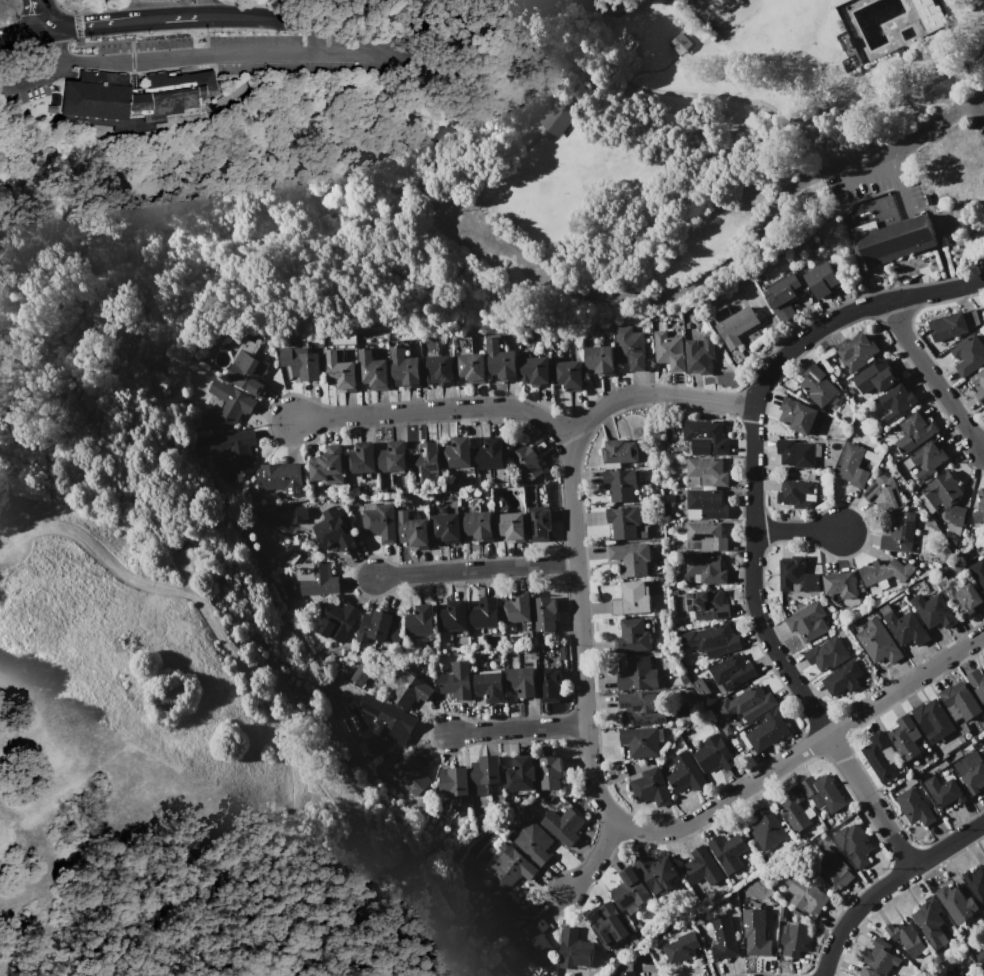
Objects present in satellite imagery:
road: (974, 0)
road: (207, 9)
road: (614, 11)
building: (926, 13)
road: (41, 15)
road: (260, 17)
road: (185, 18)
road: (140, 21)
road: (421, 21)
road: (81, 27)
road: (950, 29)
park: (767, 30)
traffic signals: (47, 31)
road: (23, 34)
road: (315, 36)
building: (679, 43)
road: (53, 45)
road: (347, 53)
road: (187, 57)
road: (963, 65)
road: (650, 69)
road: (969, 77)
road: (39, 79)
road: (616, 85)
road: (977, 90)
building: (169, 94)
building: (97, 95)
road: (590, 95)
road: (977, 103)
road: (983, 110)
building: (556, 117)
road: (558, 118)
parking lot: (978, 119)
road: (739, 150)
road: (496, 159)
park: (486, 174)
road: (870, 177)
road: (899, 180)
parking lot: (879, 183)
road: (426, 191)
road: (434, 200)
road: (470, 211)
road: (105, 227)
building: (889, 241)
parking lot: (504, 248)
road: (358, 252)
road: (738, 257)
building: (821, 280)
building: (784, 296)
building: (735, 324)
building: (952, 325)
building: (629, 348)
building: (669, 350)
building: (857, 352)
building: (700, 355)
building: (969, 356)
building: (599, 360)
building: (500, 361)
building: (301, 363)
building: (470, 367)
building: (247, 369)
building: (405, 369)
building: (373, 370)
building: (438, 370)
building: (535, 371)
building: (340, 372)
building: (567, 376)
road: (932, 376)
building: (877, 377)
building: (818, 385)
building: (980, 390)
building: (228, 403)
building: (896, 403)
road: (531, 415)
building: (798, 415)
building: (914, 433)
building: (704, 438)
building: (235, 451)
building: (619, 451)
building: (456, 453)
building: (798, 453)
building: (489, 454)
building: (360, 458)
building: (392, 458)
building: (926, 460)
building: (425, 462)
building: (526, 462)
building: (855, 464)
building: (328, 466)
building: (706, 472)
building: (281, 478)
building: (625, 485)
building: (884, 493)
building: (798, 494)
building: (981, 498)
building: (945, 502)
building: (703, 504)
building: (298, 513)
road: (753, 519)
building: (379, 521)
building: (539, 523)
building: (624, 523)
building: (478, 525)
building: (511, 526)
building: (446, 527)
building: (413, 531)
building: (333, 532)
road: (796, 532)
building: (899, 534)
building: (705, 537)
building: (631, 557)
building: (706, 568)
road: (475, 570)
building: (886, 571)
building: (978, 573)
building: (797, 575)
building: (317, 578)
building: (841, 584)
building: (964, 596)
building: (633, 599)
building: (707, 605)
building: (517, 607)
building: (934, 609)
building: (484, 613)
building: (544, 614)
building: (452, 617)
building: (336, 621)
building: (420, 621)
building: (808, 622)
building: (379, 627)
building: (907, 628)
building: (632, 636)
building: (711, 640)
building: (879, 642)
building: (826, 654)
building: (732, 672)
building: (358, 673)
building: (635, 675)
building: (843, 678)
building: (521, 680)
building: (457, 681)
building: (977, 683)
building: (549, 684)
building: (489, 686)
building: (407, 689)
road: (256, 691)
building: (959, 701)
building: (747, 704)
park: (168, 706)
building: (644, 707)
building: (933, 719)
building: (387, 720)
road: (21, 723)
road: (518, 730)
building: (769, 730)
building: (905, 737)
building: (640, 741)
building: (982, 745)
building: (714, 754)
building: (881, 757)
building: (486, 770)
building: (970, 771)
building: (549, 772)
building: (408, 774)
building: (685, 774)
building: (520, 776)
building: (454, 782)
building: (650, 787)
building: (944, 791)
building: (823, 794)
building: (914, 807)
building: (793, 810)
building: (563, 825)
road: (631, 826)
building: (767, 832)
building: (533, 843)
building: (854, 844)
building: (727, 851)
road: (595, 858)
building: (702, 867)
building: (831, 869)
building: (500, 870)
building: (657, 872)
building: (975, 882)
road: (887, 884)
building: (630, 891)
building: (807, 896)
building: (956, 903)
building: (783, 911)
building: (508, 914)
building: (930, 923)
building: (608, 925)
building: (724, 939)
building: (795, 940)
building: (907, 940)
building: (532, 941)
building: (756, 941)
building: (681, 947)
building: (574, 950)
building: (881, 956)
building: (981, 958)
building: (953, 971)
building: (867, 972)
building: (626, 973)
building: (981, 975)

